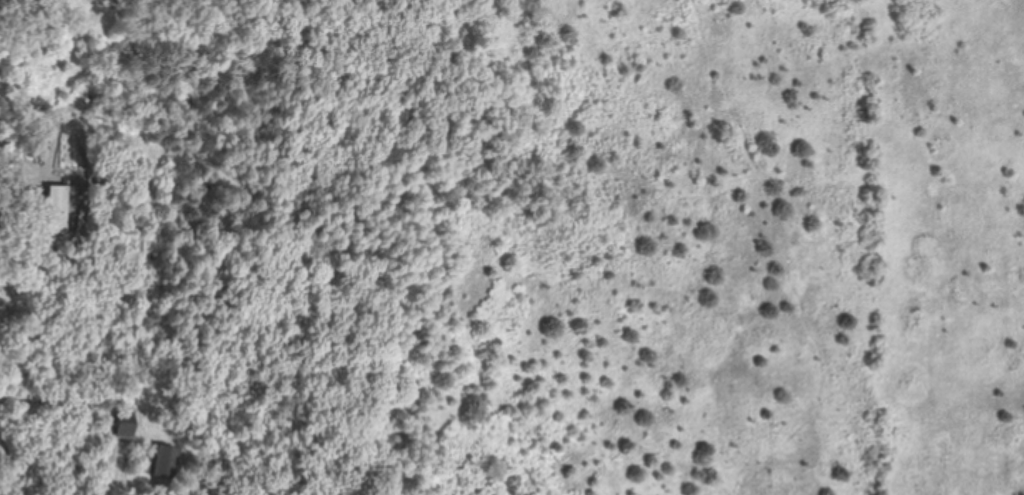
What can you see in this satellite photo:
road: (63, 8)
building: (57, 209)
park: (642, 246)
building: (126, 423)
building: (165, 460)
road: (13, 465)
road: (108, 467)

